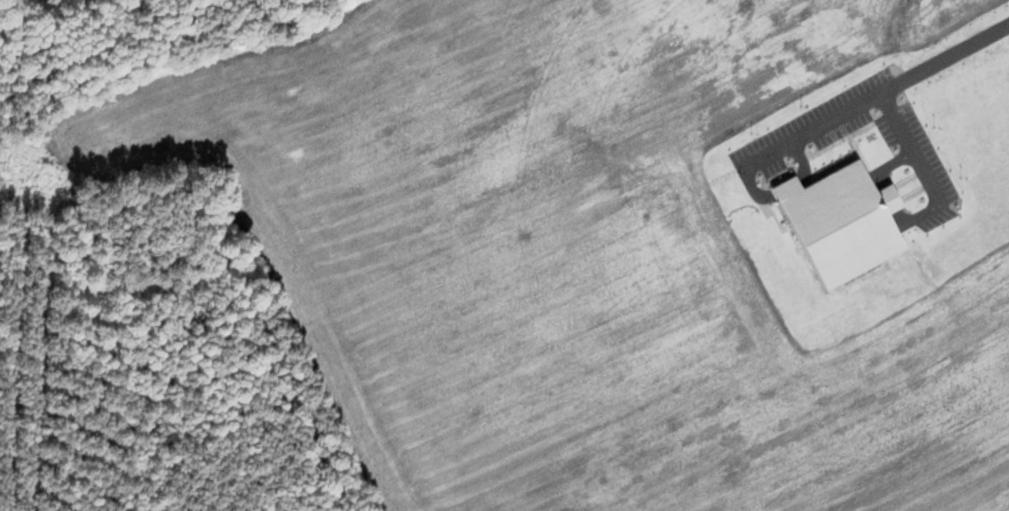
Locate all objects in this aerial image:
road: (879, 91)
road: (902, 139)

